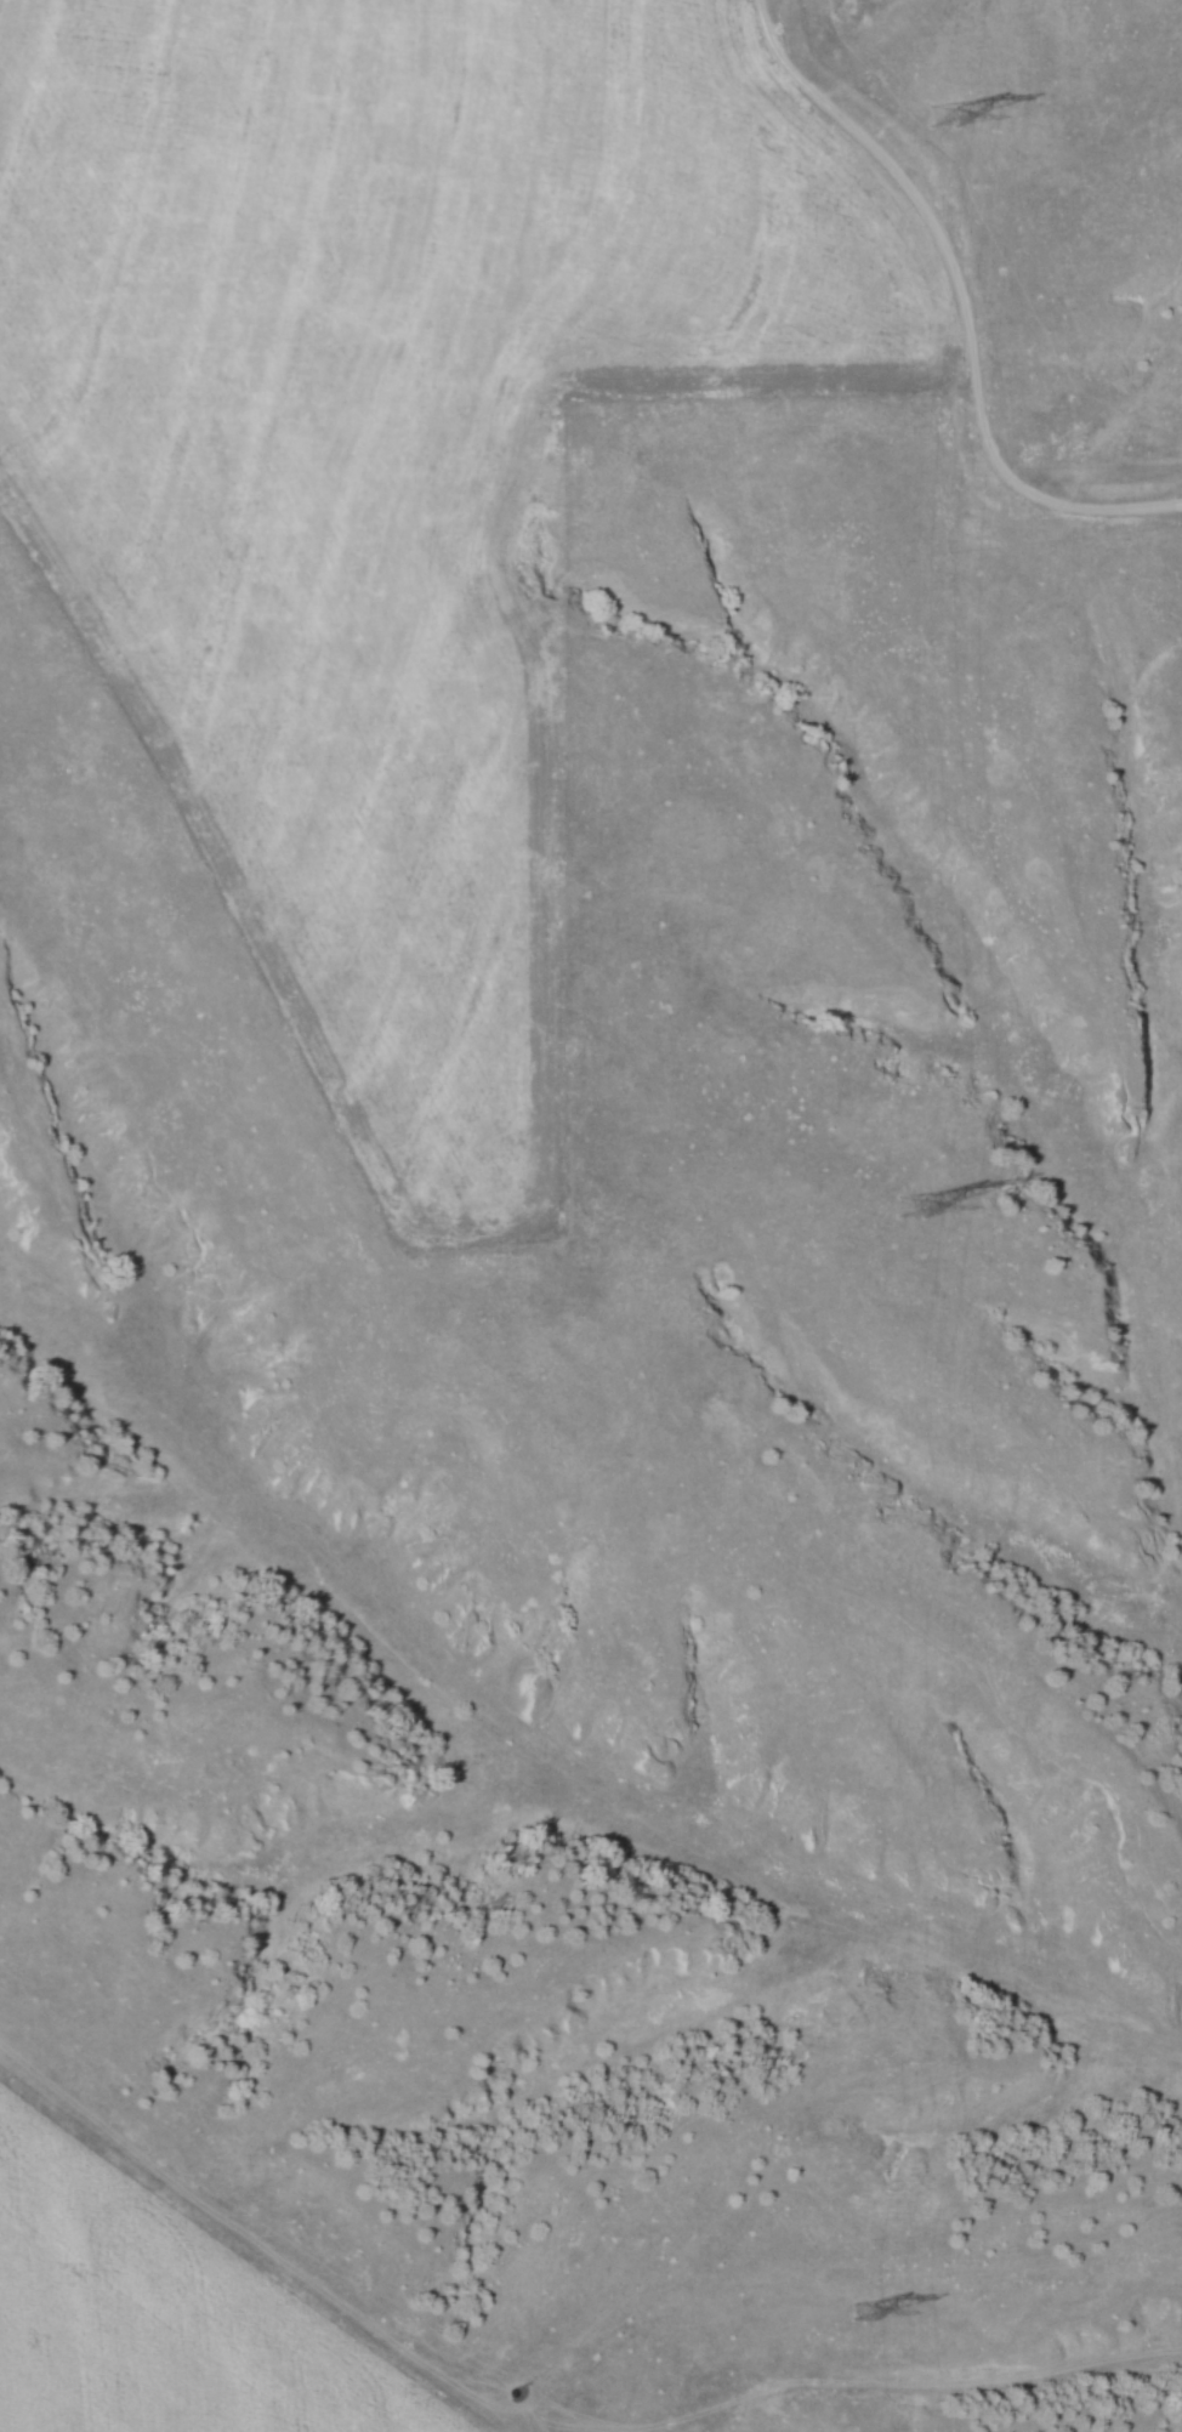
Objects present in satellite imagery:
power tower: (944, 117)
road: (961, 299)
power tower: (909, 1206)
power tower: (863, 2314)

